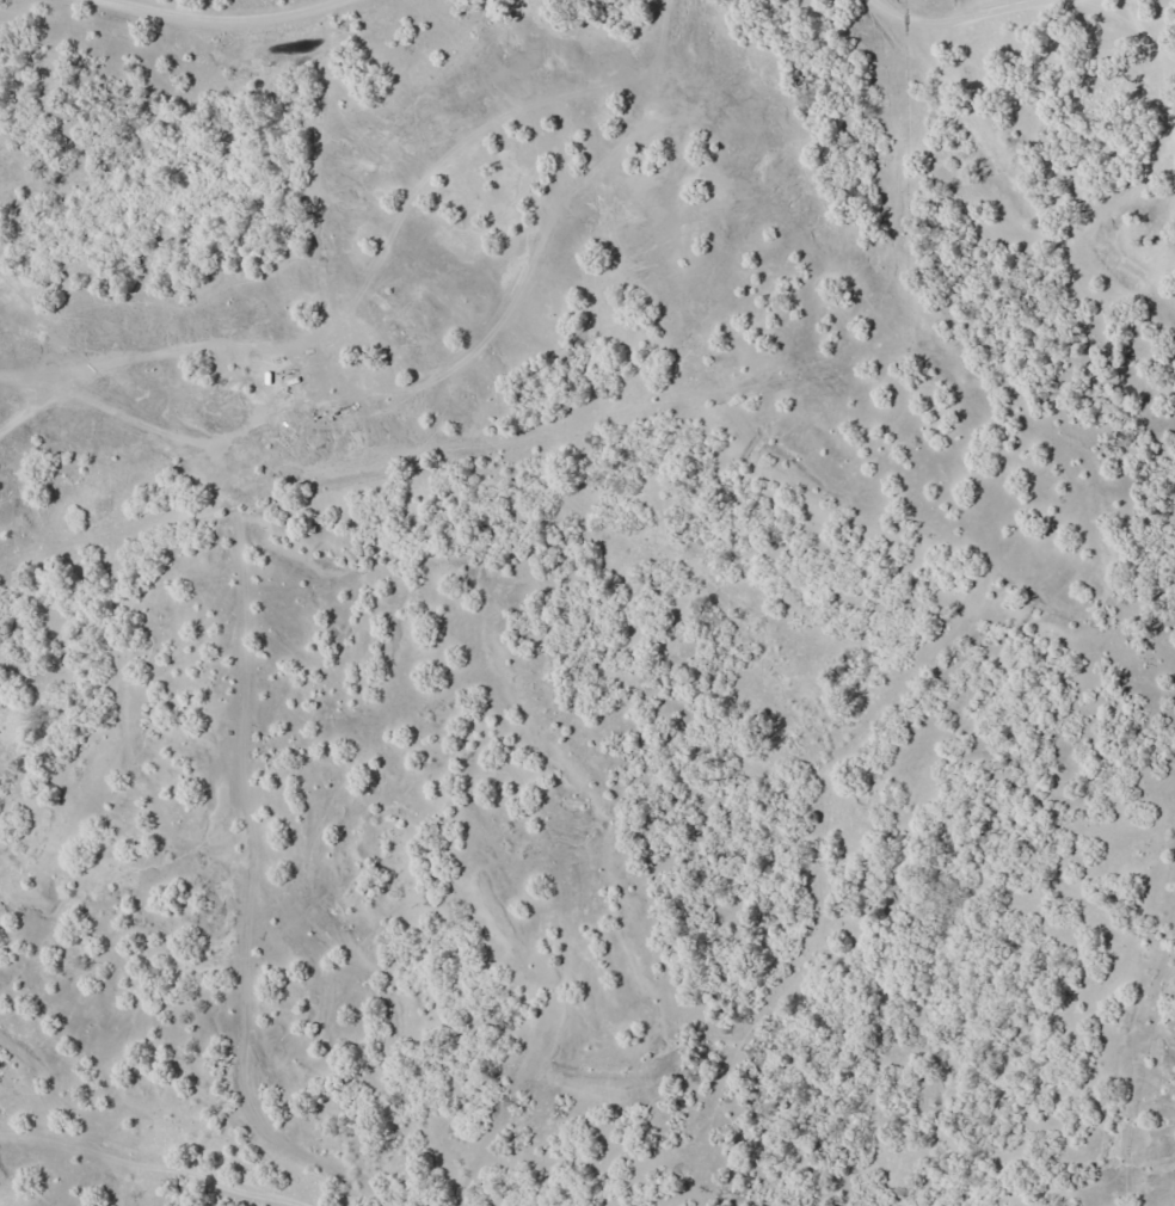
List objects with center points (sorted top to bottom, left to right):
road: (1148, 19)
road: (229, 726)

